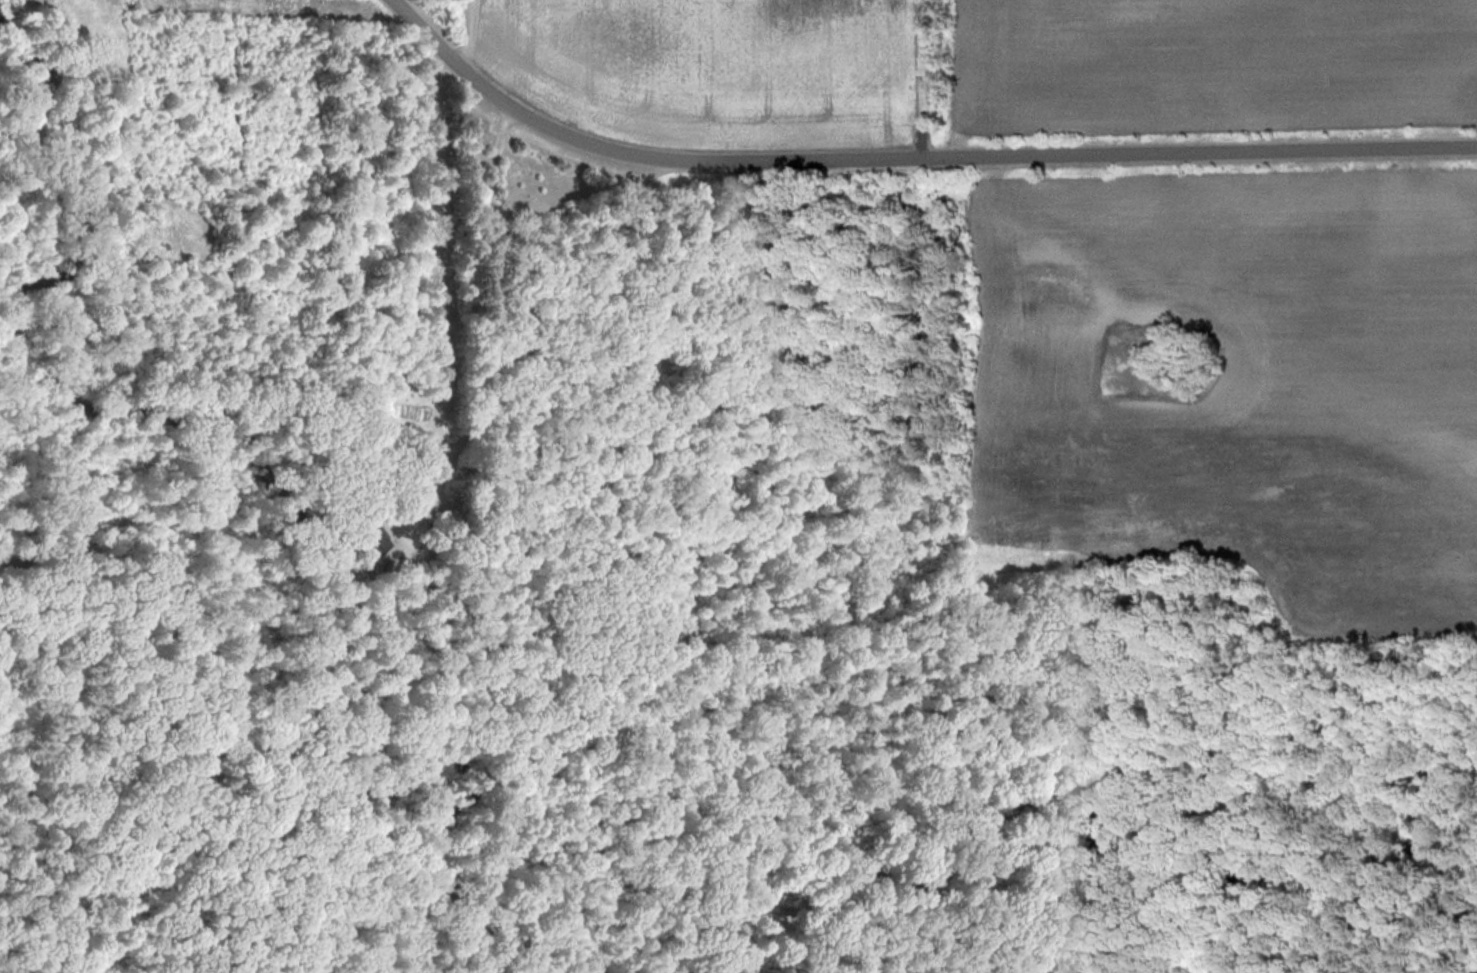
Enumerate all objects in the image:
road: (905, 167)
road: (483, 314)

